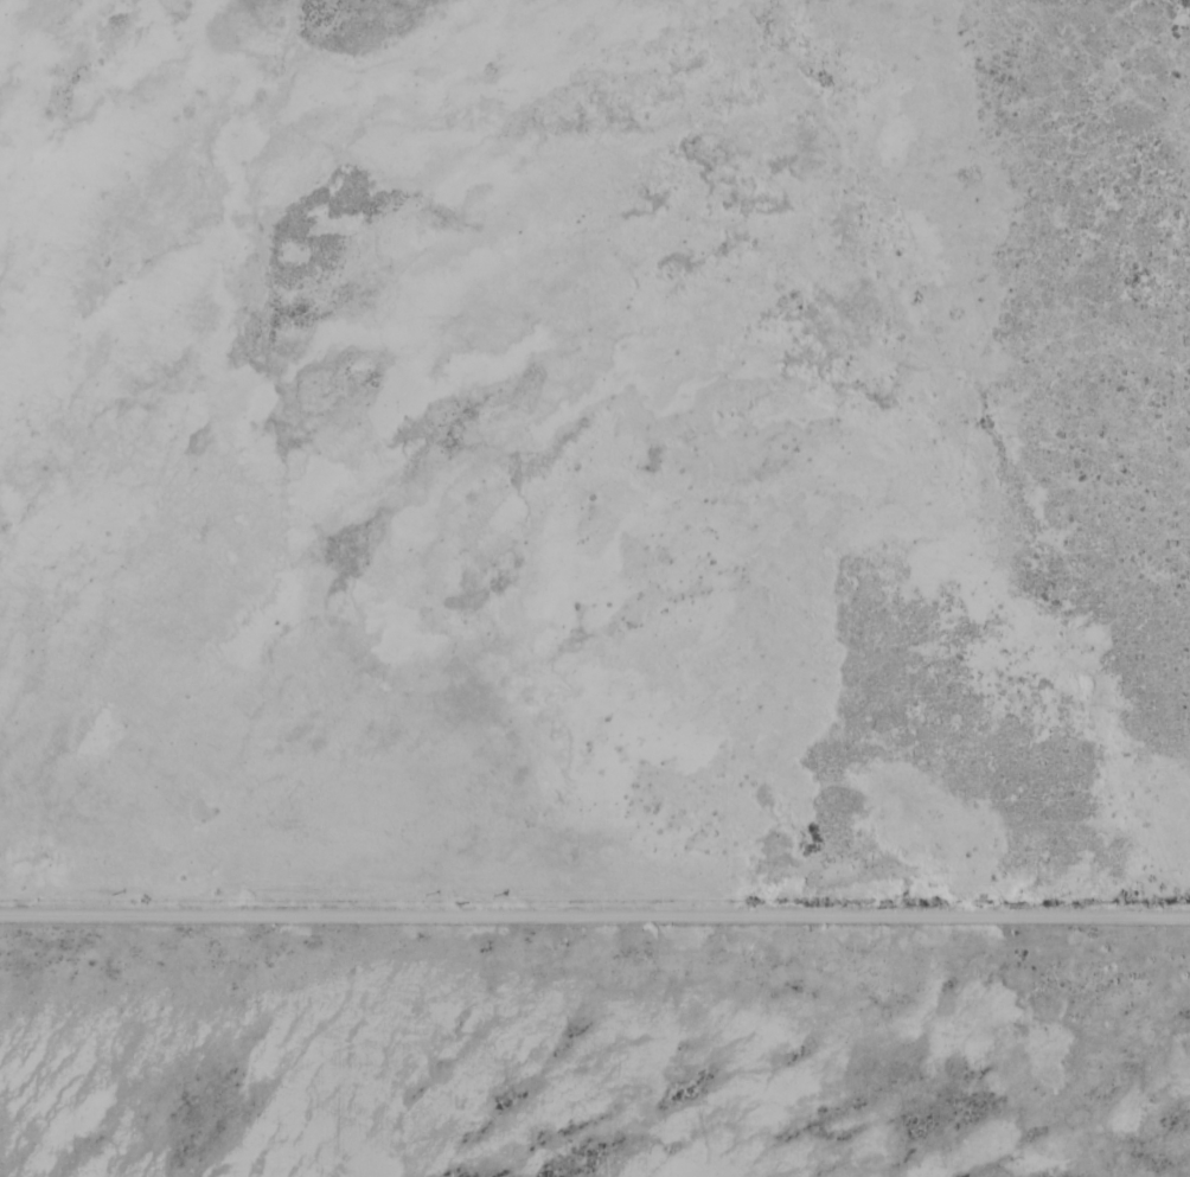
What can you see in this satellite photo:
road: (595, 908)

